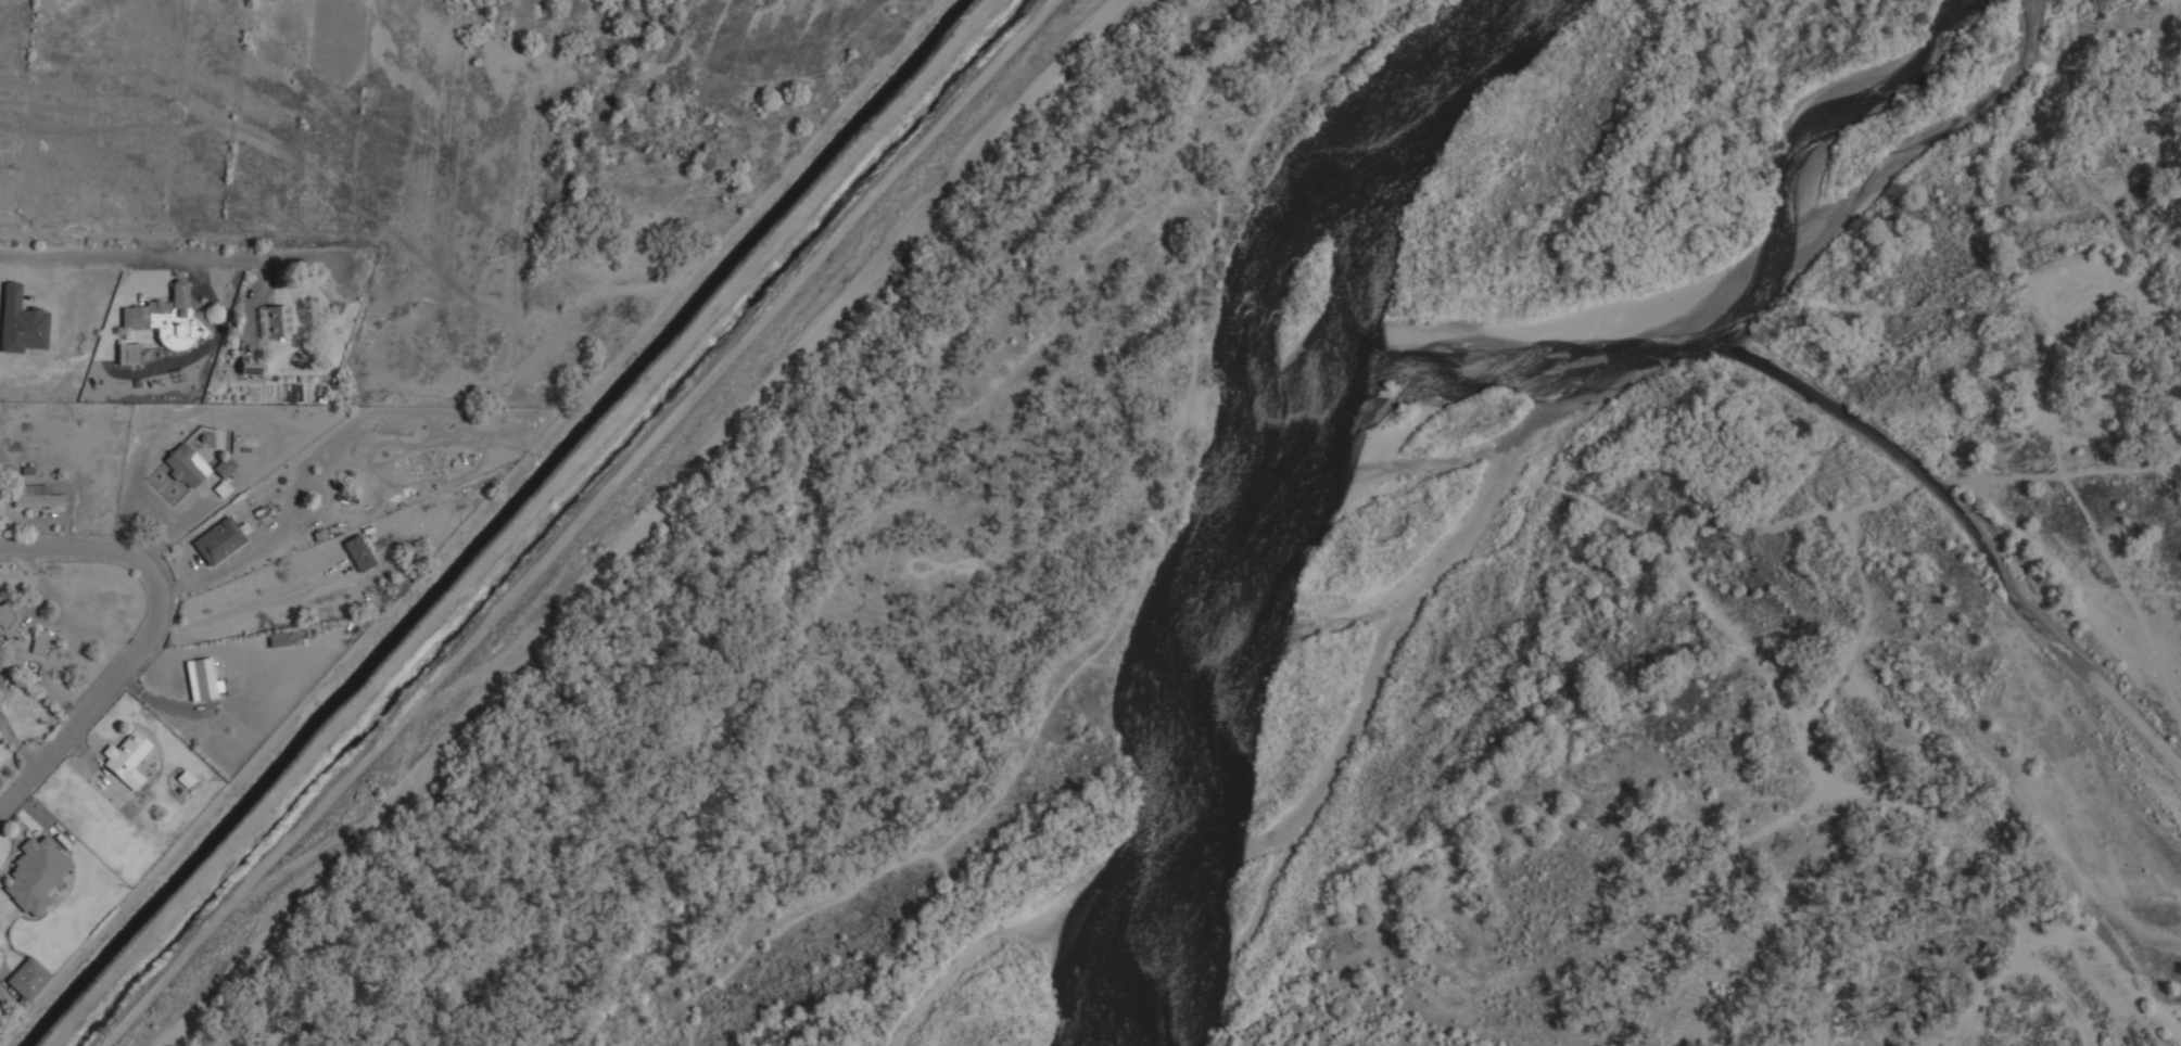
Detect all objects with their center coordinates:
road: (2074, 116)
road: (2115, 239)
road: (170, 258)
building: (179, 294)
river: (1733, 294)
road: (114, 304)
building: (158, 305)
road: (2150, 312)
building: (277, 320)
building: (21, 322)
building: (167, 324)
road: (149, 345)
road: (201, 349)
building: (127, 353)
building: (256, 367)
building: (176, 374)
building: (127, 382)
building: (136, 382)
building: (187, 464)
building: (224, 468)
building: (221, 488)
building: (36, 496)
river: (1302, 520)
building: (218, 540)
building: (358, 552)
building: (9, 624)
road: (149, 637)
building: (277, 638)
building: (39, 641)
building: (202, 678)
building: (127, 758)
building: (186, 778)
building: (36, 873)
building: (28, 978)

